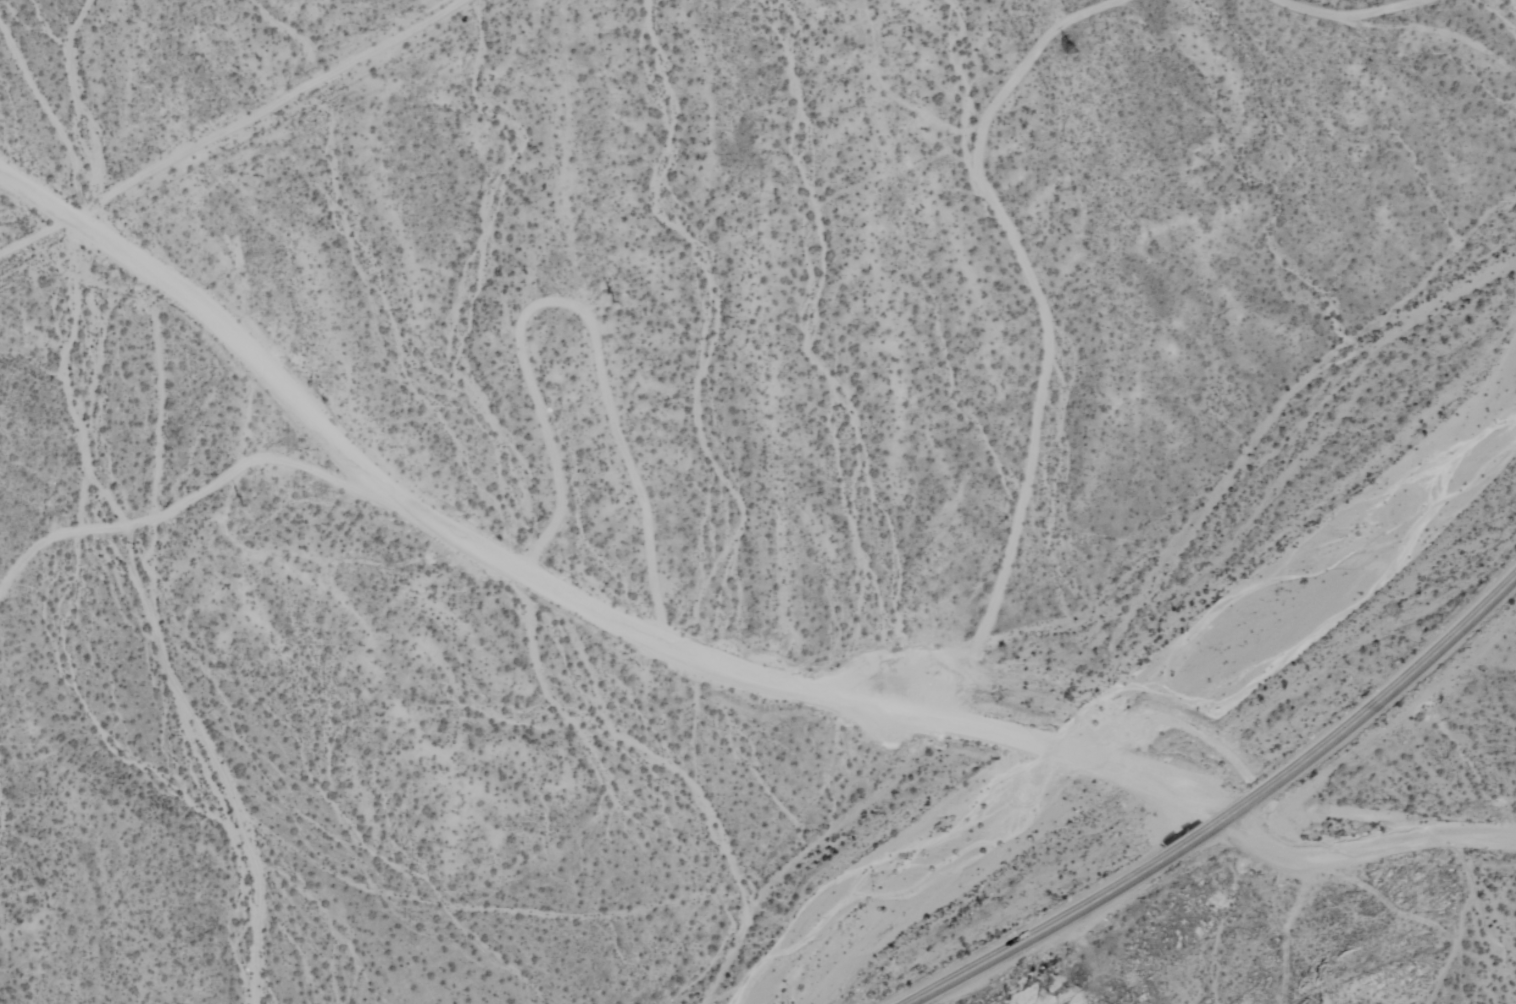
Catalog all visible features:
power tower: (1059, 52)
road: (32, 198)
power tower: (615, 299)
power tower: (249, 500)
road: (595, 615)
road: (1374, 704)
road: (1363, 850)
road: (1068, 915)

